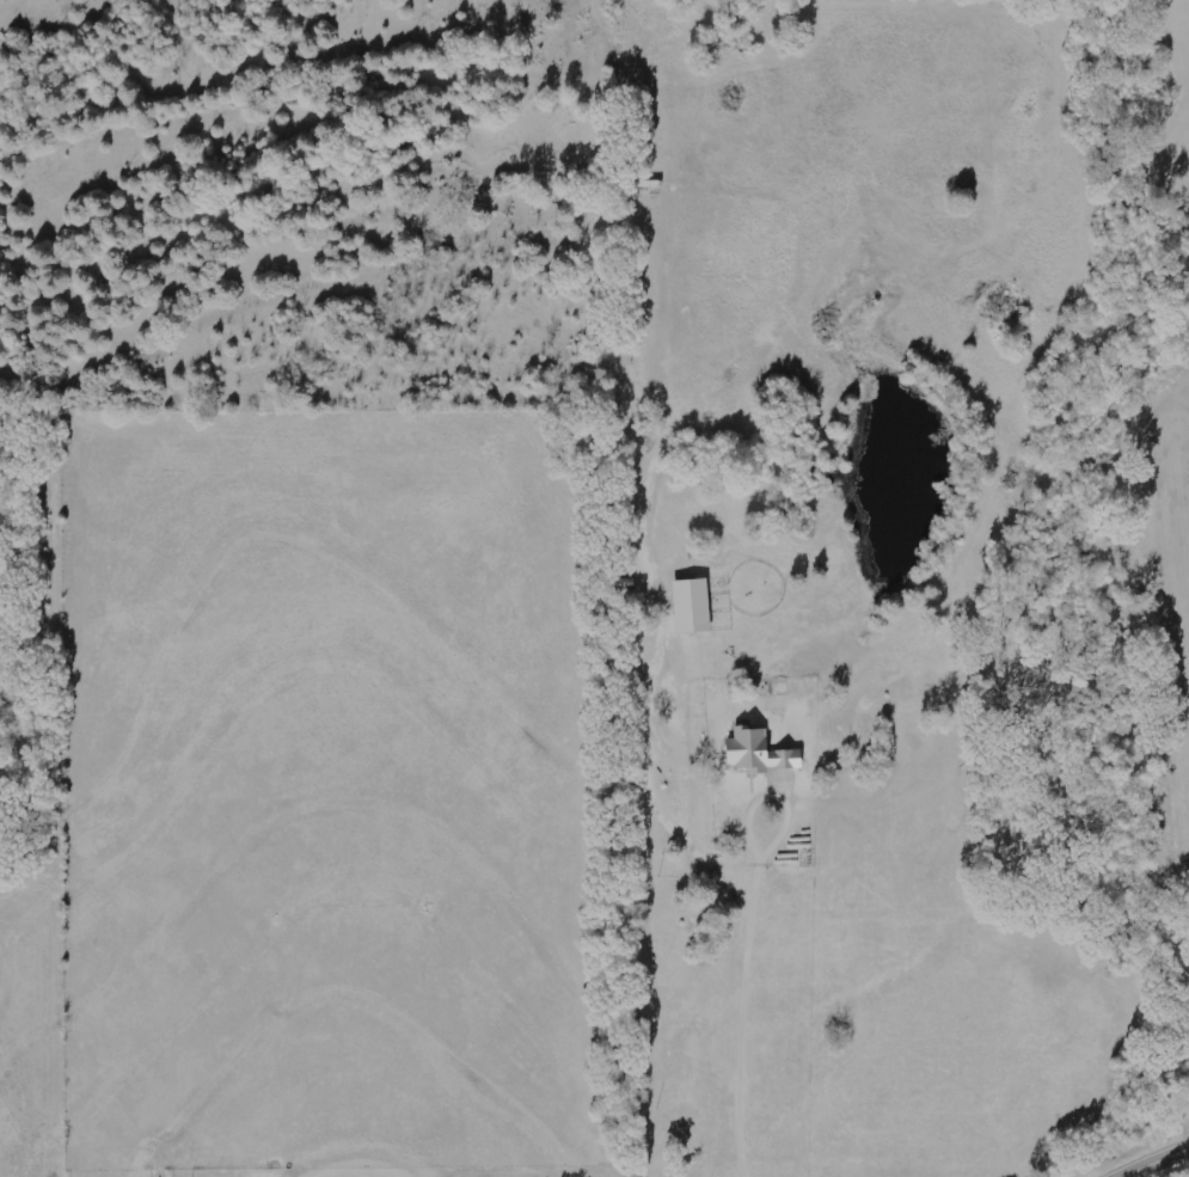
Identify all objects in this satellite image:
building: (692, 605)
building: (759, 752)
road: (774, 795)
road: (743, 1014)
road: (1162, 1166)

